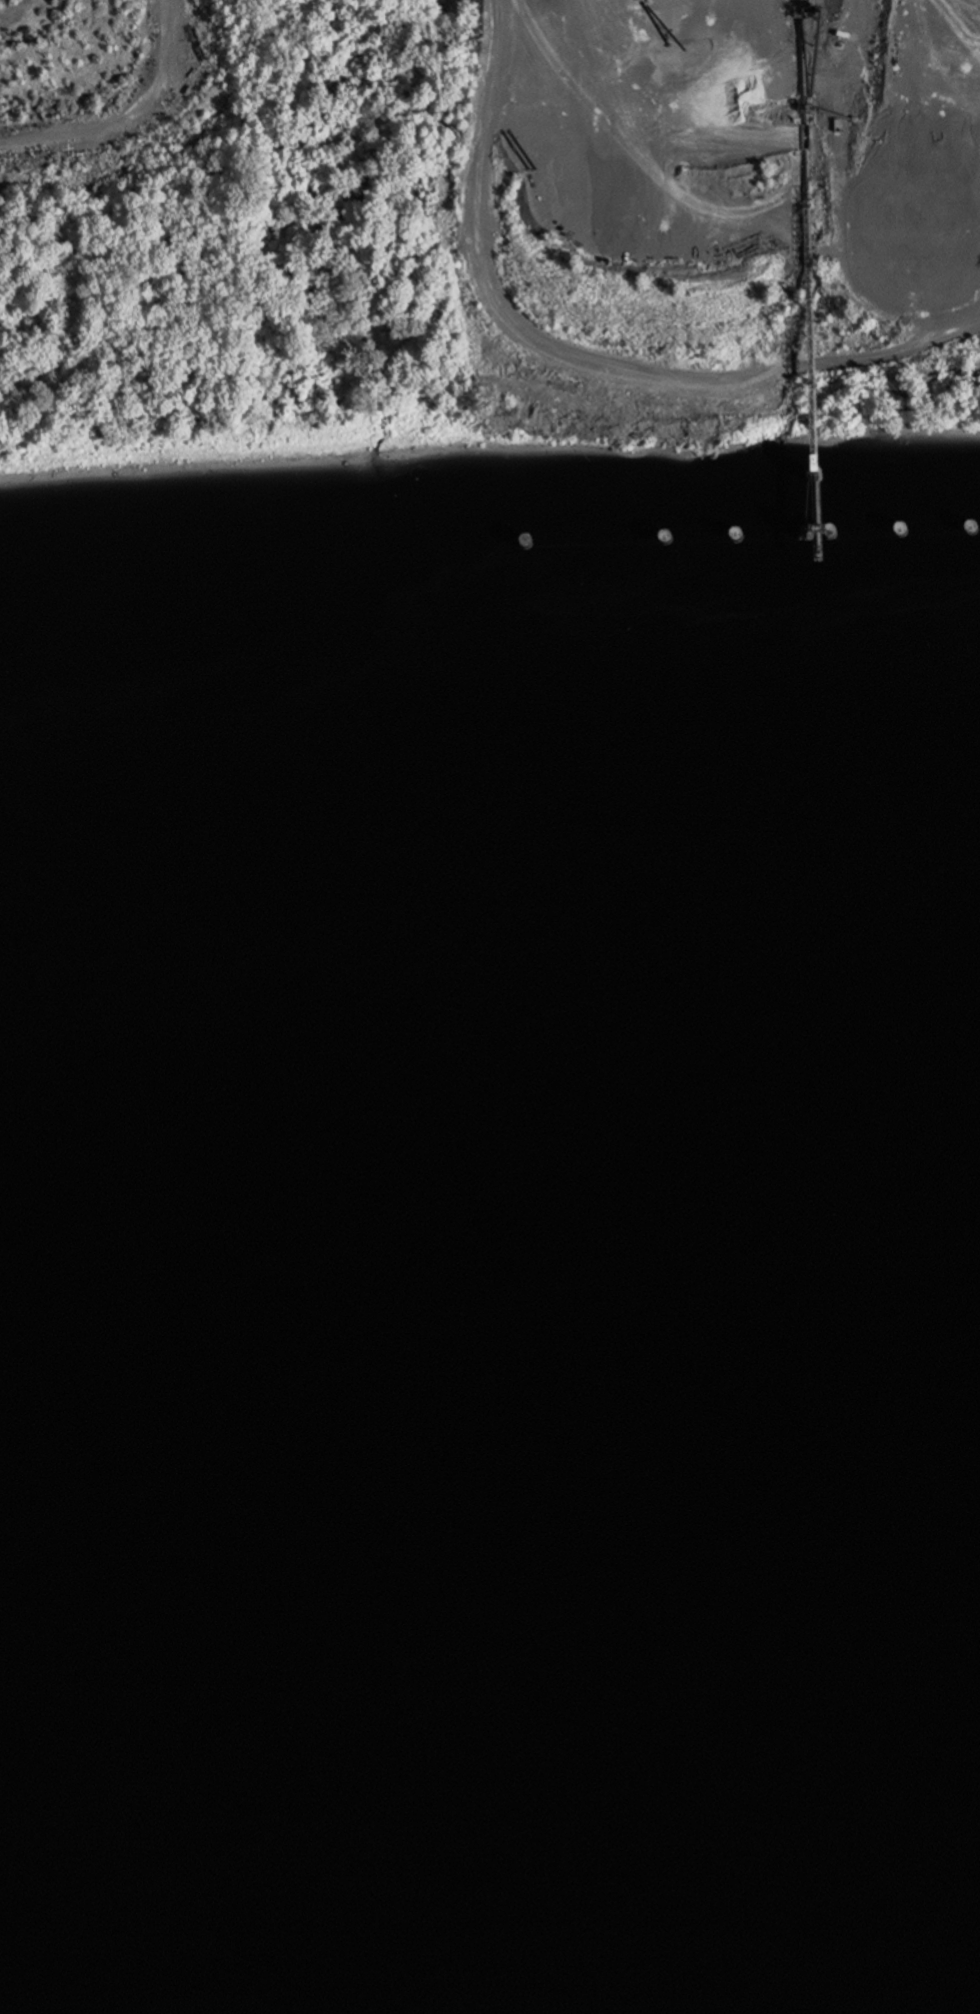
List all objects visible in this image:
road: (537, 22)
road: (963, 38)
road: (589, 71)
quarry: (96, 82)
road: (125, 112)
quarry: (716, 188)
building: (781, 200)
road: (589, 344)
building: (632, 470)
building: (224, 523)
river: (489, 1493)

